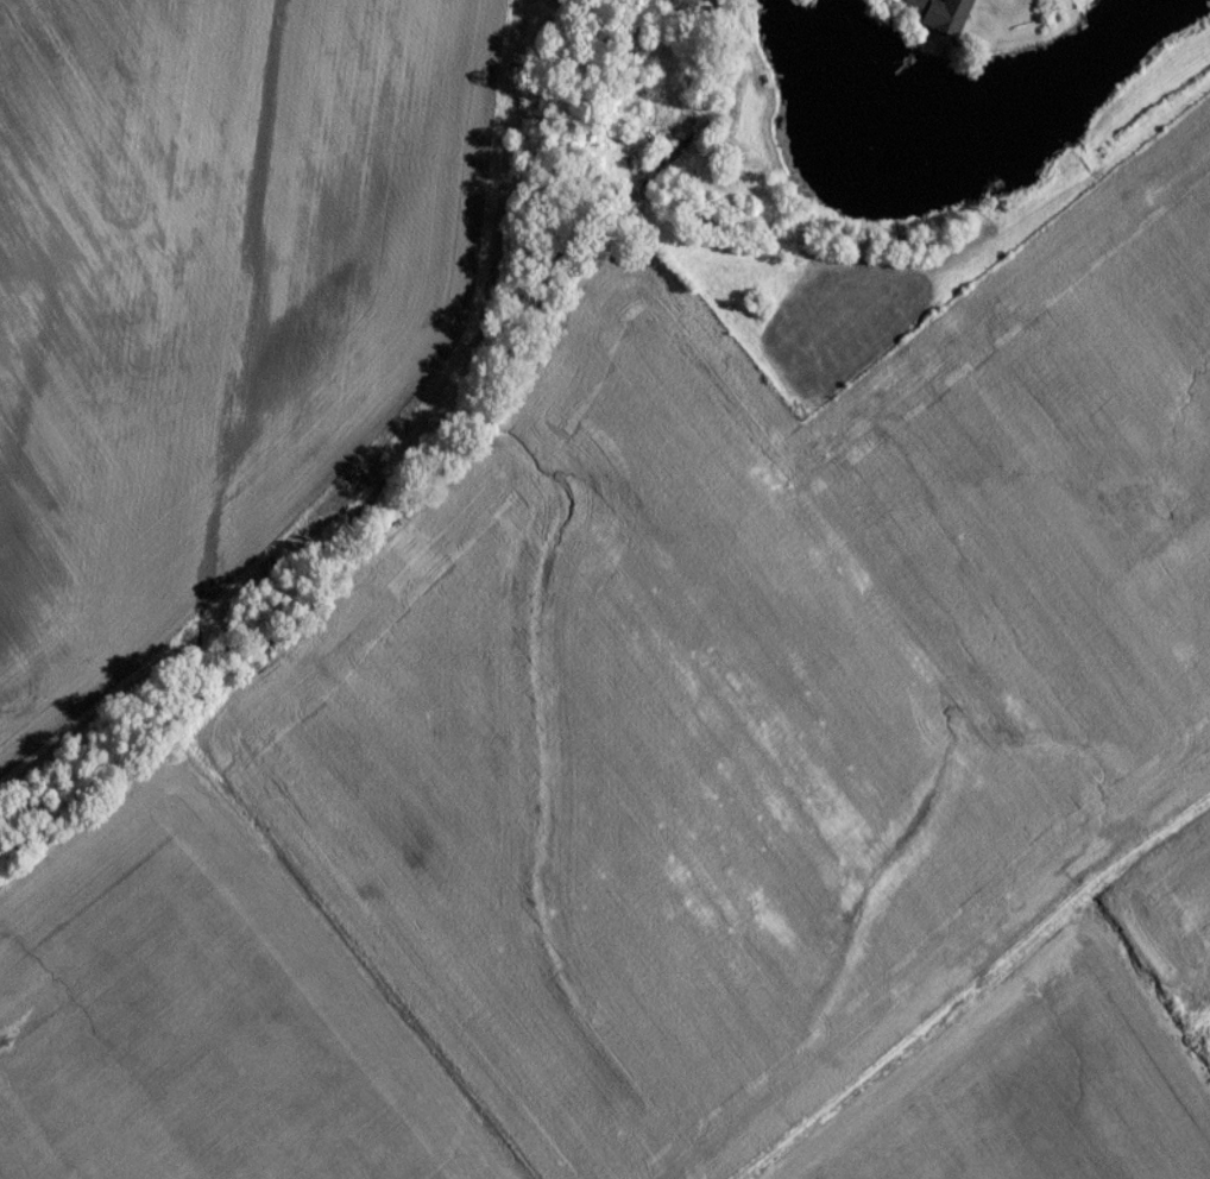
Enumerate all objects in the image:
building: (933, 20)

